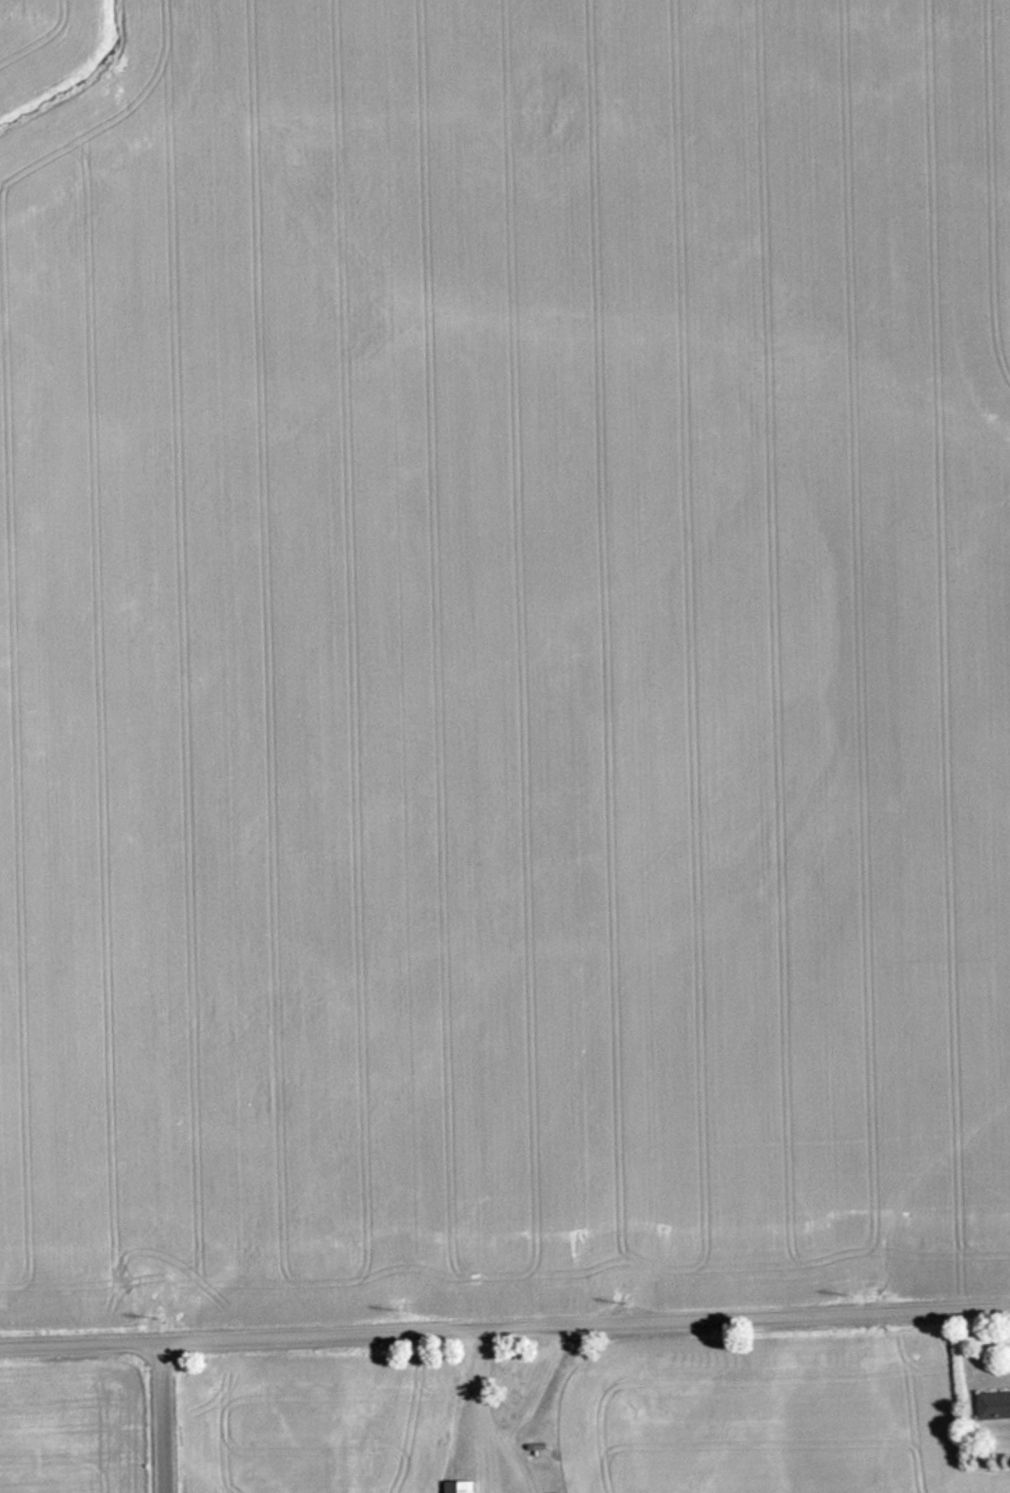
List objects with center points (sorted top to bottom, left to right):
road: (505, 1330)
building: (991, 1406)
road: (168, 1418)
building: (456, 1487)

